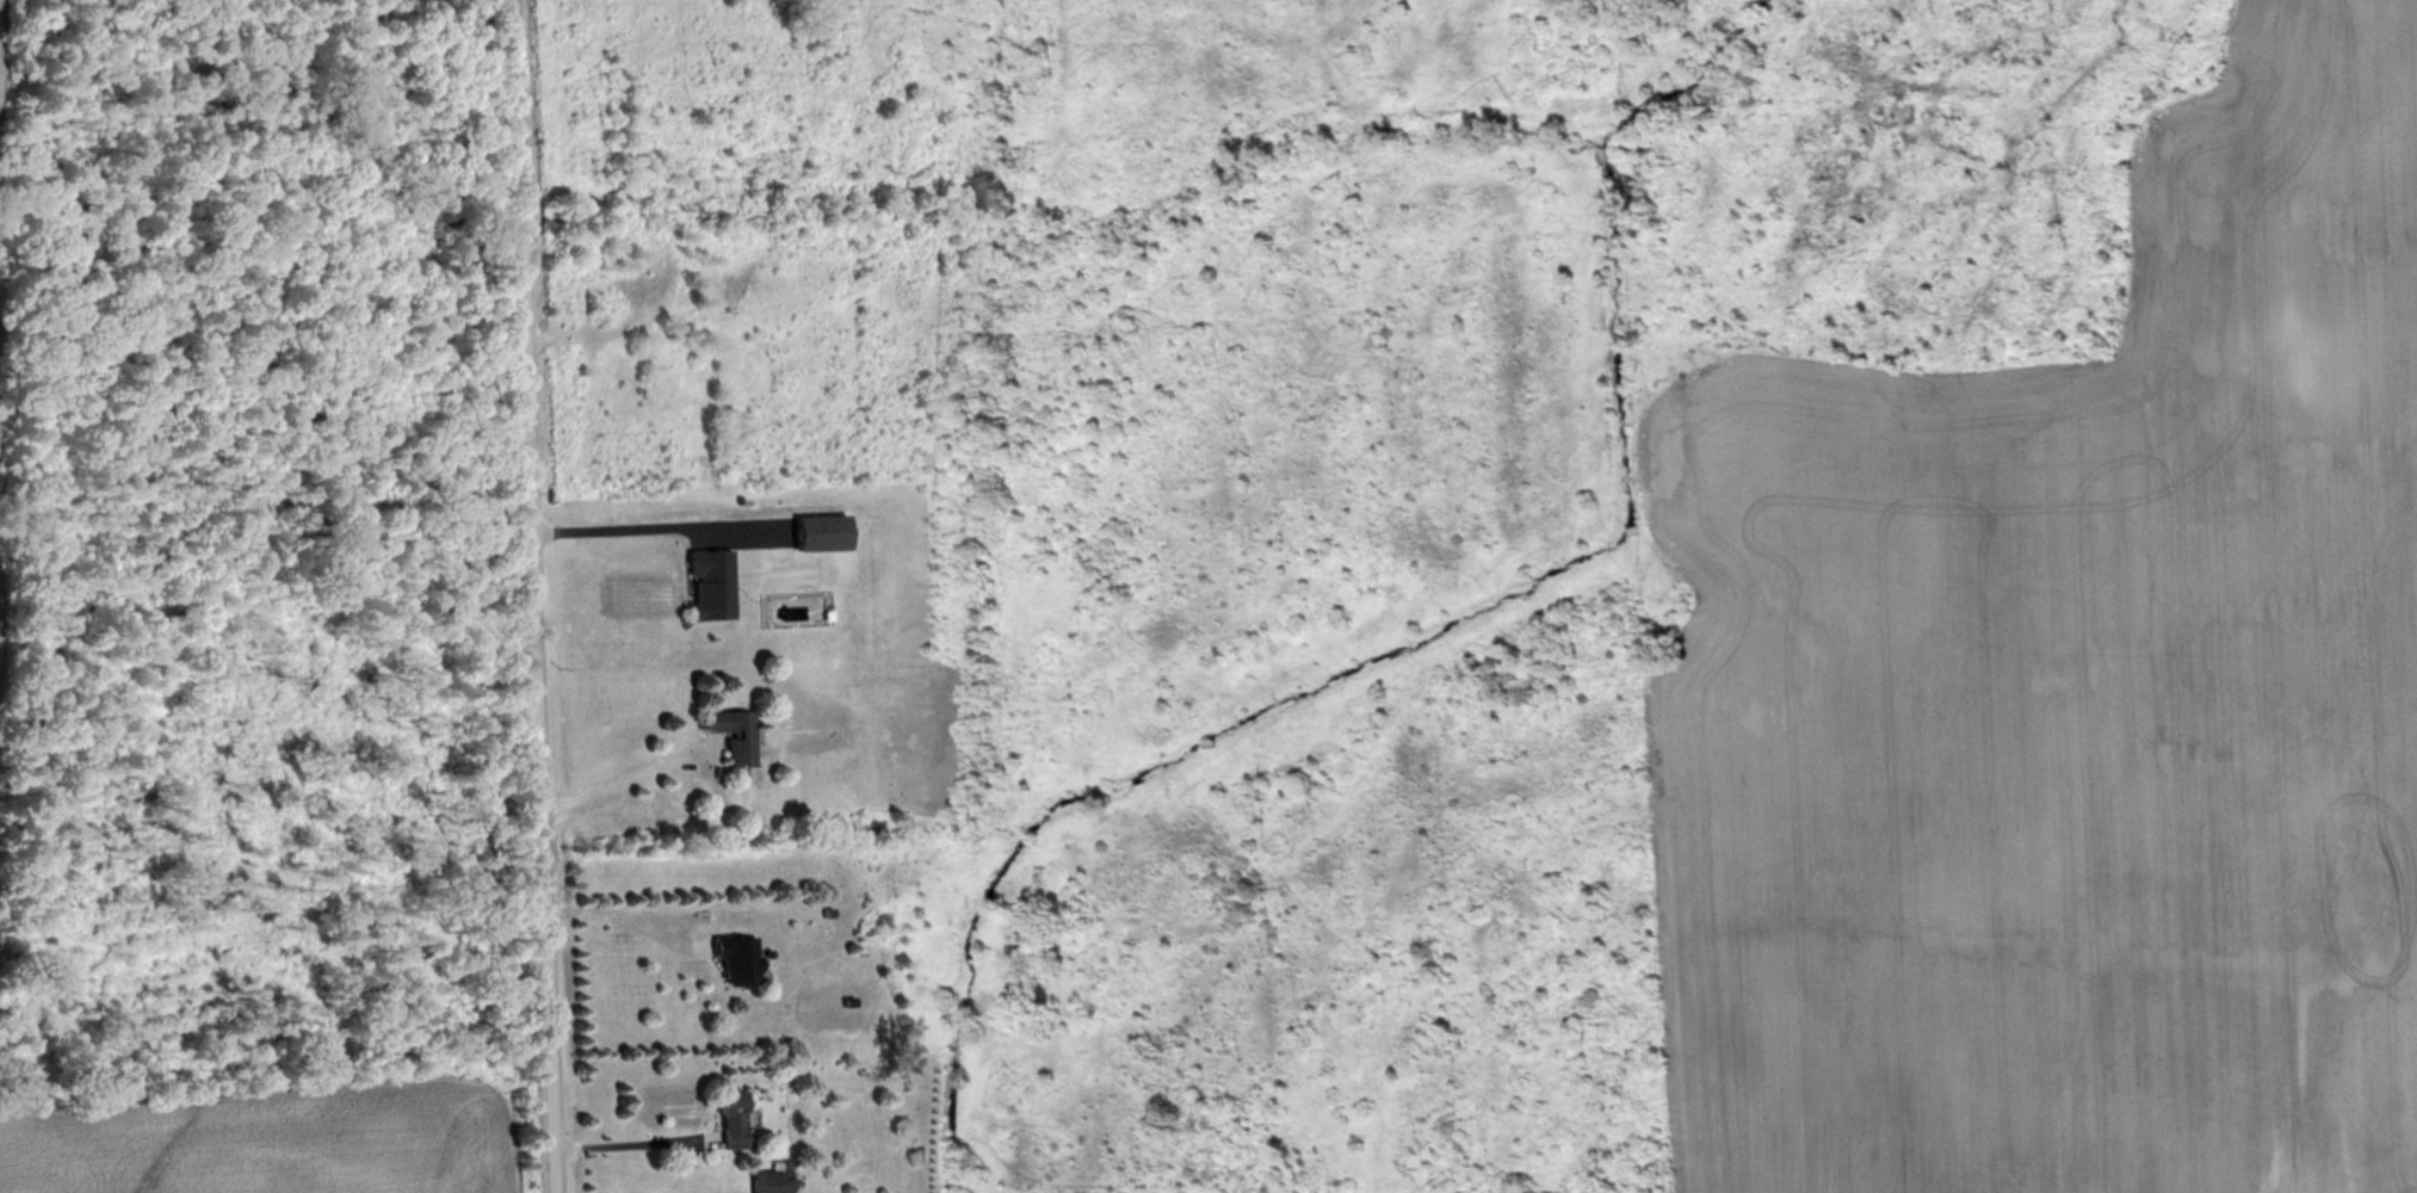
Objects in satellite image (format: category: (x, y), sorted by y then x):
building: (823, 536)
building: (712, 588)
road: (532, 595)
building: (787, 613)
building: (734, 736)
building: (737, 963)
building: (731, 1124)
building: (772, 1183)

